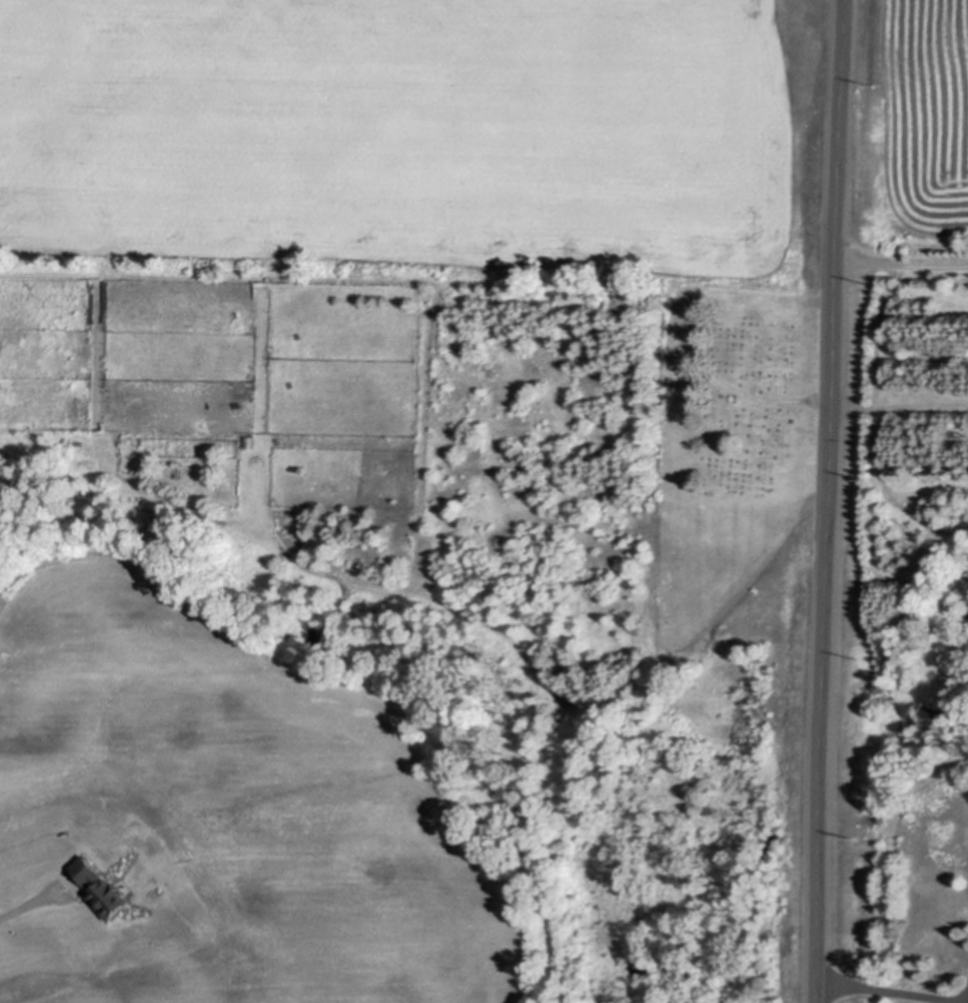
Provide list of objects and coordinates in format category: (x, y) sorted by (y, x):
park: (740, 404)
building: (251, 440)
road: (828, 501)
road: (633, 720)
building: (103, 888)
road: (893, 989)

